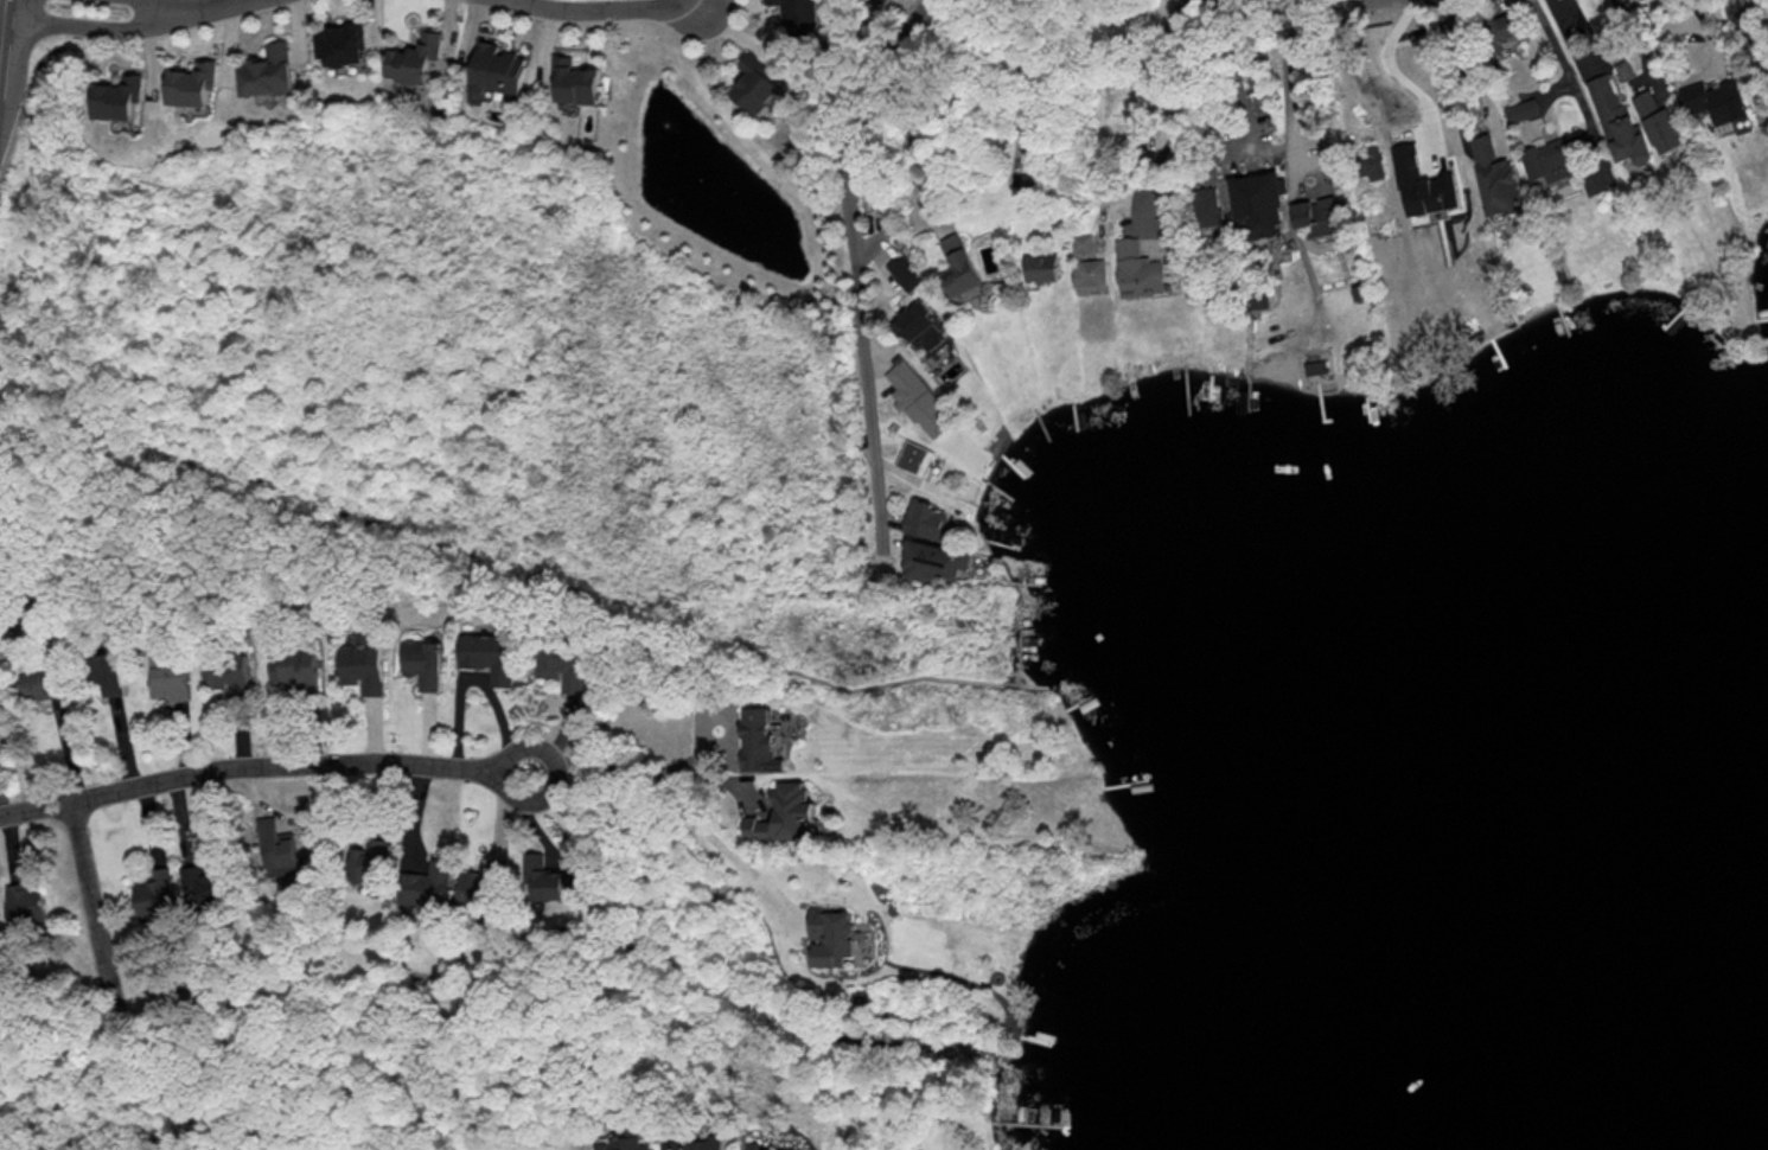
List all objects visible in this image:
road: (1499, 0)
road: (678, 5)
road: (1300, 5)
road: (190, 6)
road: (585, 14)
building: (799, 14)
road: (2, 21)
road: (88, 27)
building: (1507, 28)
road: (1652, 34)
road: (1633, 40)
building: (342, 44)
building: (416, 58)
road: (1007, 58)
building: (498, 68)
building: (268, 70)
road: (1234, 71)
road: (1474, 71)
road: (1394, 75)
building: (575, 81)
building: (192, 83)
road: (1285, 83)
road: (1565, 83)
building: (753, 84)
building: (116, 97)
building: (1715, 100)
road: (1173, 101)
road: (1211, 101)
building: (1519, 109)
building: (1615, 122)
building: (1660, 128)
building: (1546, 159)
building: (1371, 161)
building: (1494, 179)
building: (1421, 183)
building: (1259, 203)
building: (1208, 205)
building: (1322, 215)
building: (1164, 224)
building: (1081, 242)
building: (957, 263)
building: (1041, 266)
building: (1137, 269)
building: (905, 270)
road: (854, 279)
building: (1357, 292)
building: (919, 326)
building: (915, 456)
building: (927, 520)
building: (934, 560)
building: (490, 654)
building: (425, 662)
building: (364, 666)
building: (298, 667)
building: (559, 669)
road: (781, 670)
building: (109, 671)
building: (231, 672)
building: (172, 682)
building: (46, 685)
building: (761, 740)
road: (244, 769)
road: (562, 769)
road: (690, 810)
building: (785, 813)
building: (282, 848)
building: (372, 864)
building: (199, 879)
building: (550, 880)
building: (483, 882)
building: (428, 886)
building: (157, 895)
building: (25, 901)
road: (92, 912)
building: (831, 934)
building: (625, 1144)
building: (695, 1144)
building: (754, 1145)

